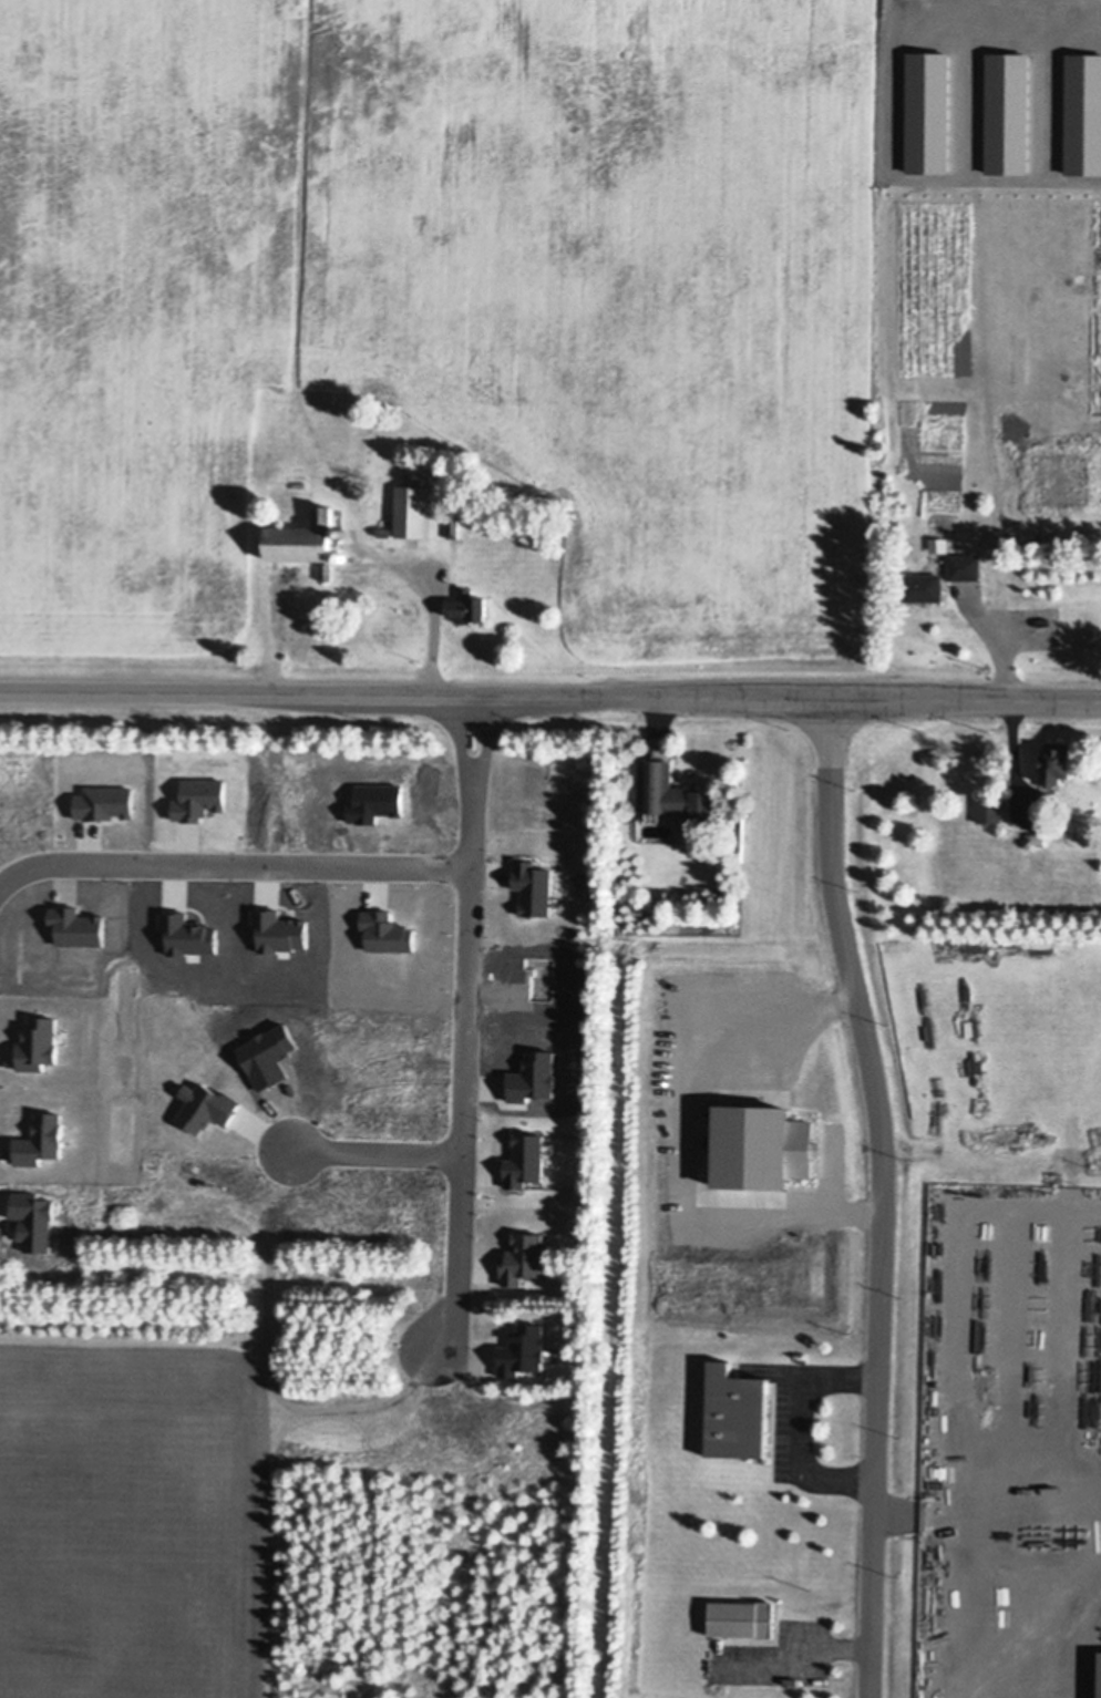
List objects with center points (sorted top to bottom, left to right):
road: (1095, 20)
building: (411, 508)
building: (452, 525)
building: (383, 529)
building: (340, 531)
building: (306, 538)
building: (939, 542)
building: (339, 555)
building: (964, 564)
building: (994, 580)
building: (923, 585)
building: (467, 604)
road: (987, 641)
road: (282, 696)
road: (833, 699)
building: (1054, 760)
building: (667, 791)
building: (987, 806)
building: (1037, 837)
road: (234, 866)
building: (668, 923)
road: (470, 1025)
road: (383, 1152)
road: (878, 1195)
building: (734, 1412)
building: (741, 1617)
road: (788, 1664)
building: (1099, 1694)

